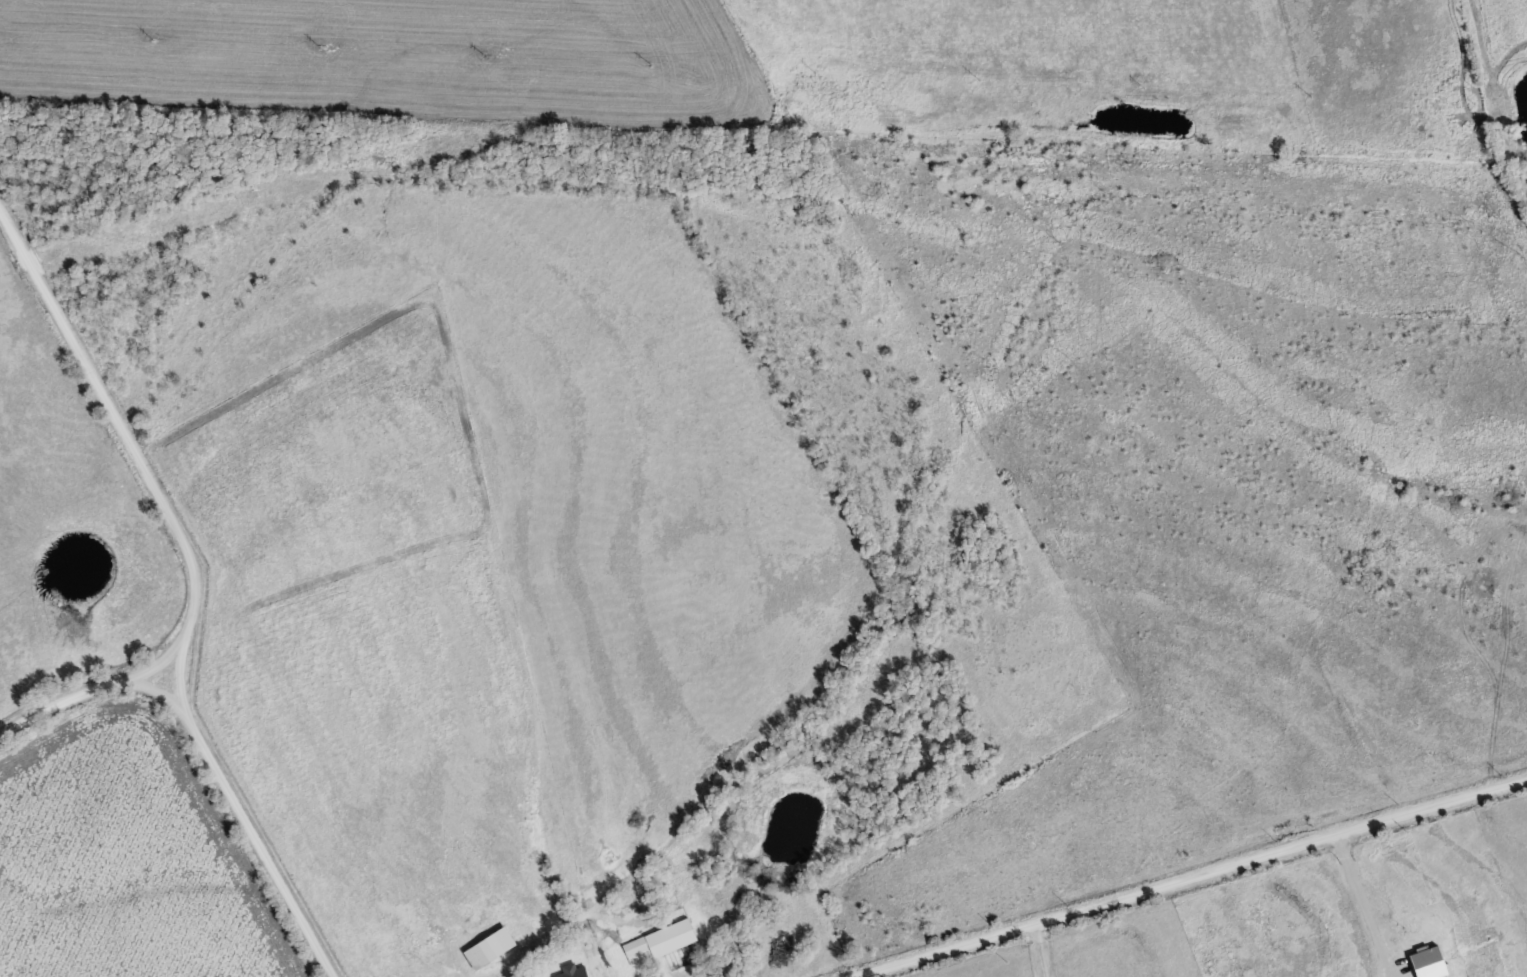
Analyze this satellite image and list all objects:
railway: (763, 156)
road: (135, 449)
road: (151, 664)
road: (91, 686)
road: (259, 843)
road: (1189, 874)
building: (660, 940)
road: (1041, 948)
building: (492, 949)
building: (572, 970)

